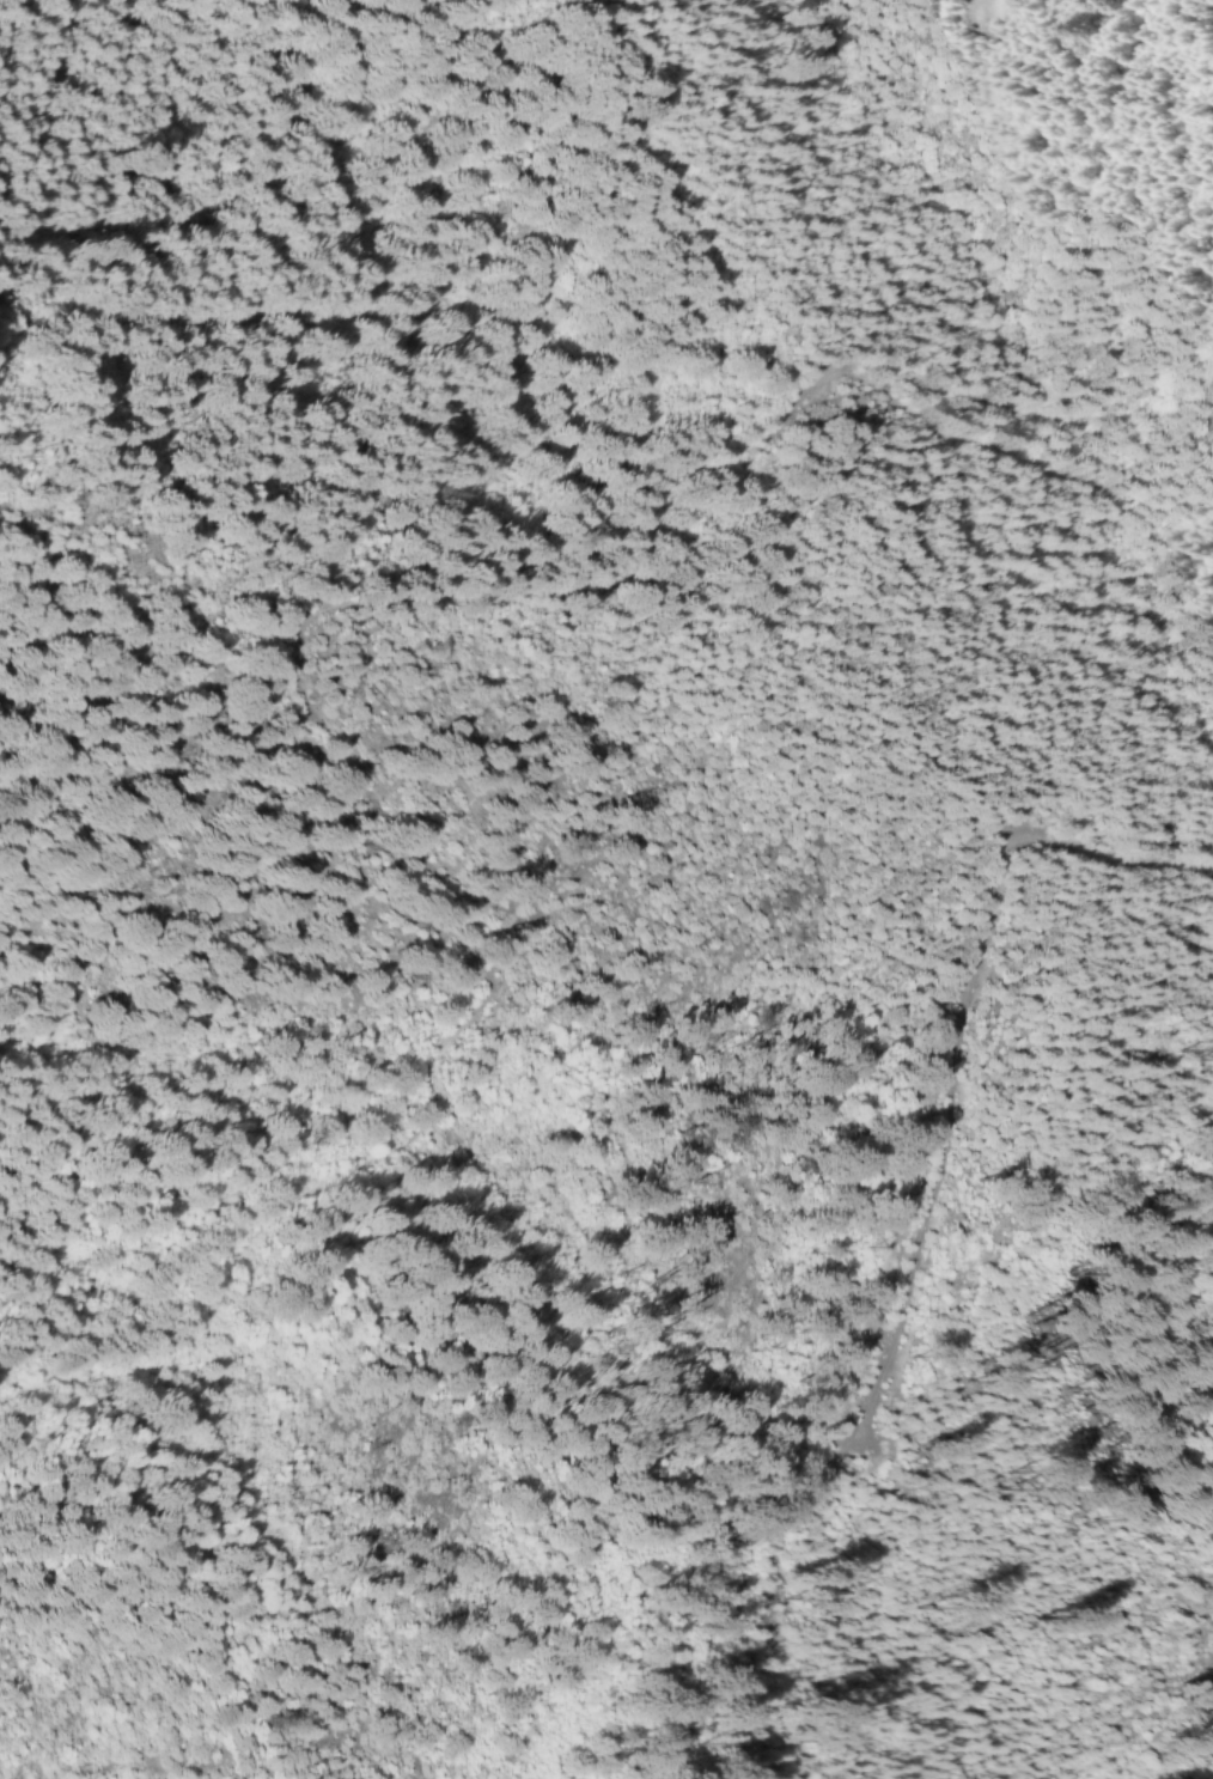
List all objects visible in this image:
road: (1011, 458)
road: (951, 1046)

